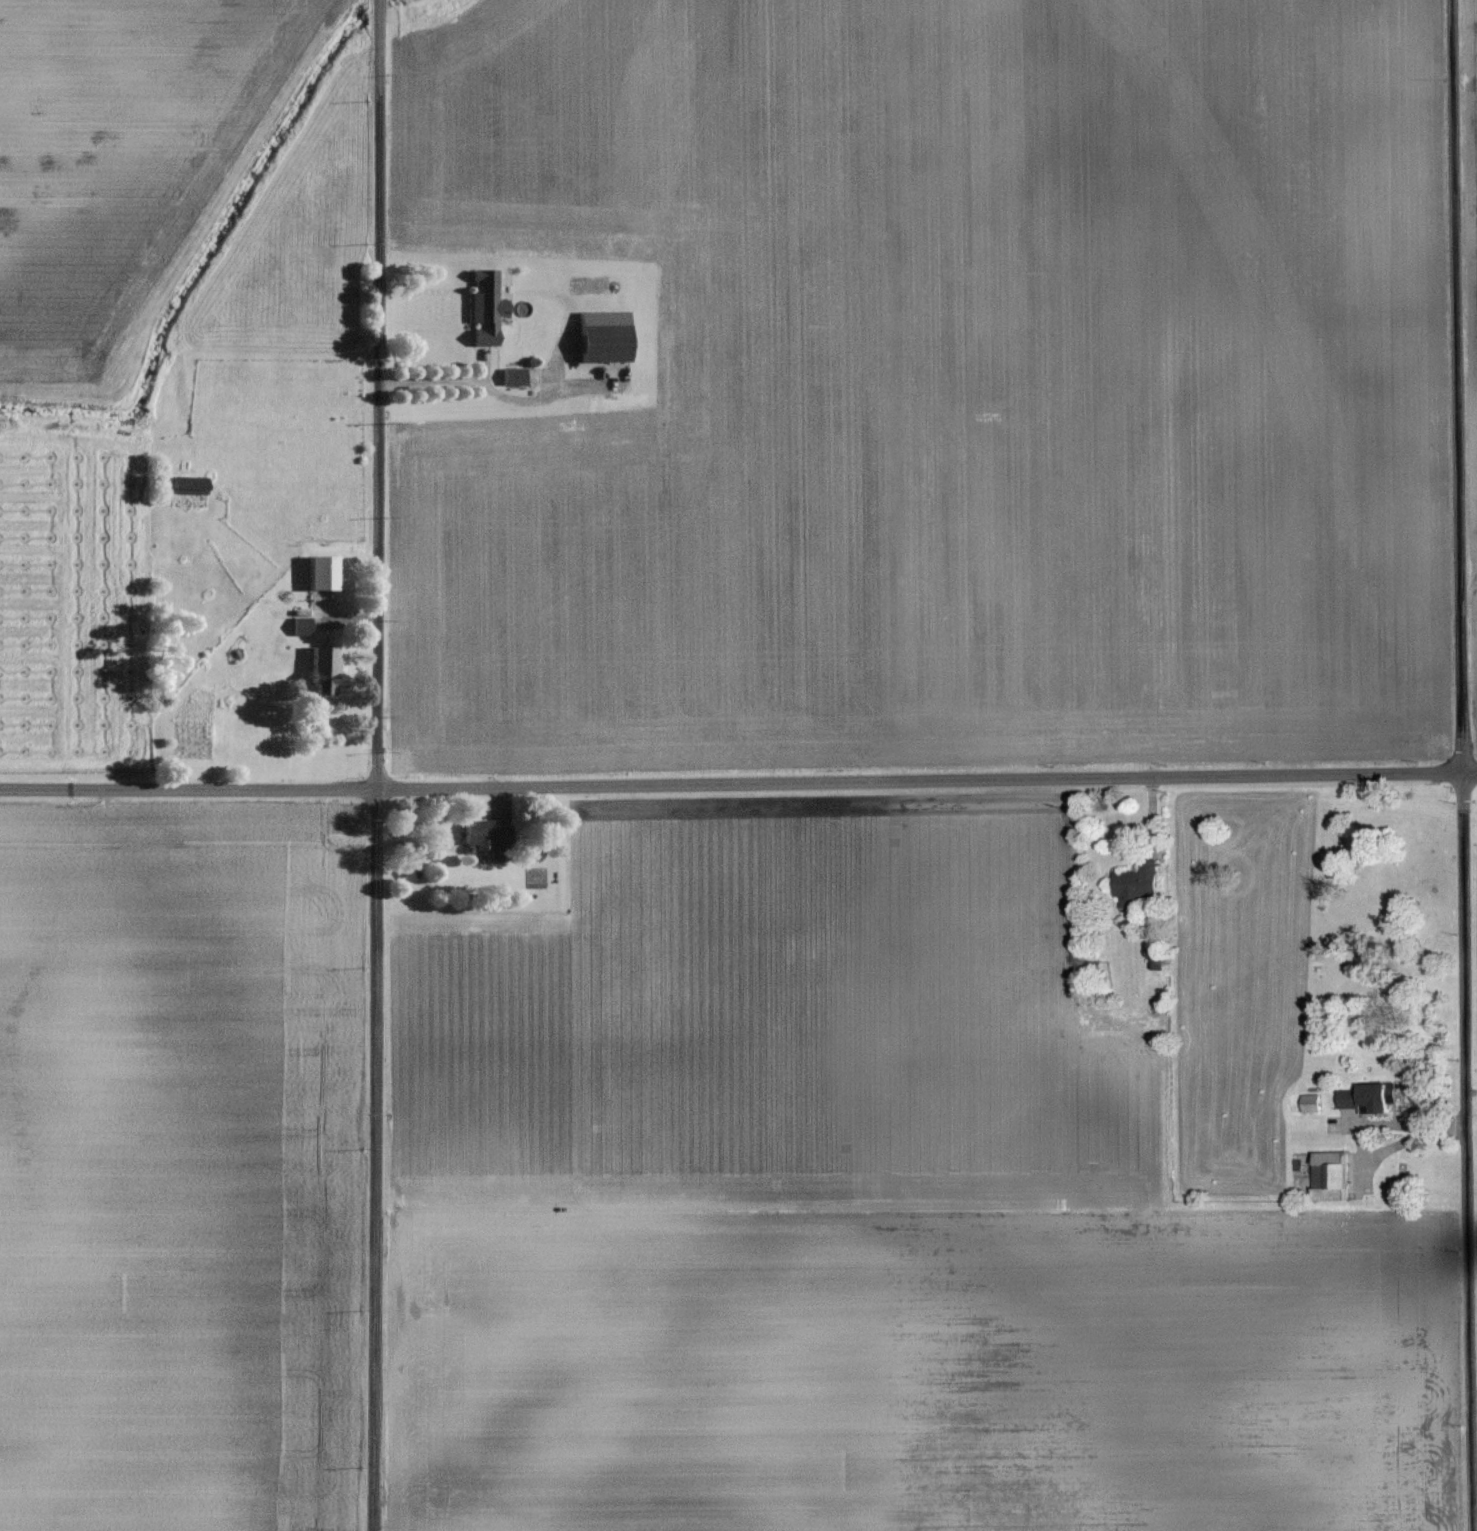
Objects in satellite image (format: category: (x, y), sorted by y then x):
building: (481, 307)
building: (597, 335)
building: (508, 376)
road: (477, 384)
road: (377, 394)
building: (184, 485)
building: (318, 572)
building: (297, 626)
building: (317, 669)
road: (1463, 765)
road: (738, 783)
building: (478, 834)
building: (405, 872)
building: (1133, 885)
building: (1153, 958)
building: (1367, 1097)
building: (1309, 1103)
road: (1368, 1125)
road: (375, 1160)
building: (1328, 1176)

